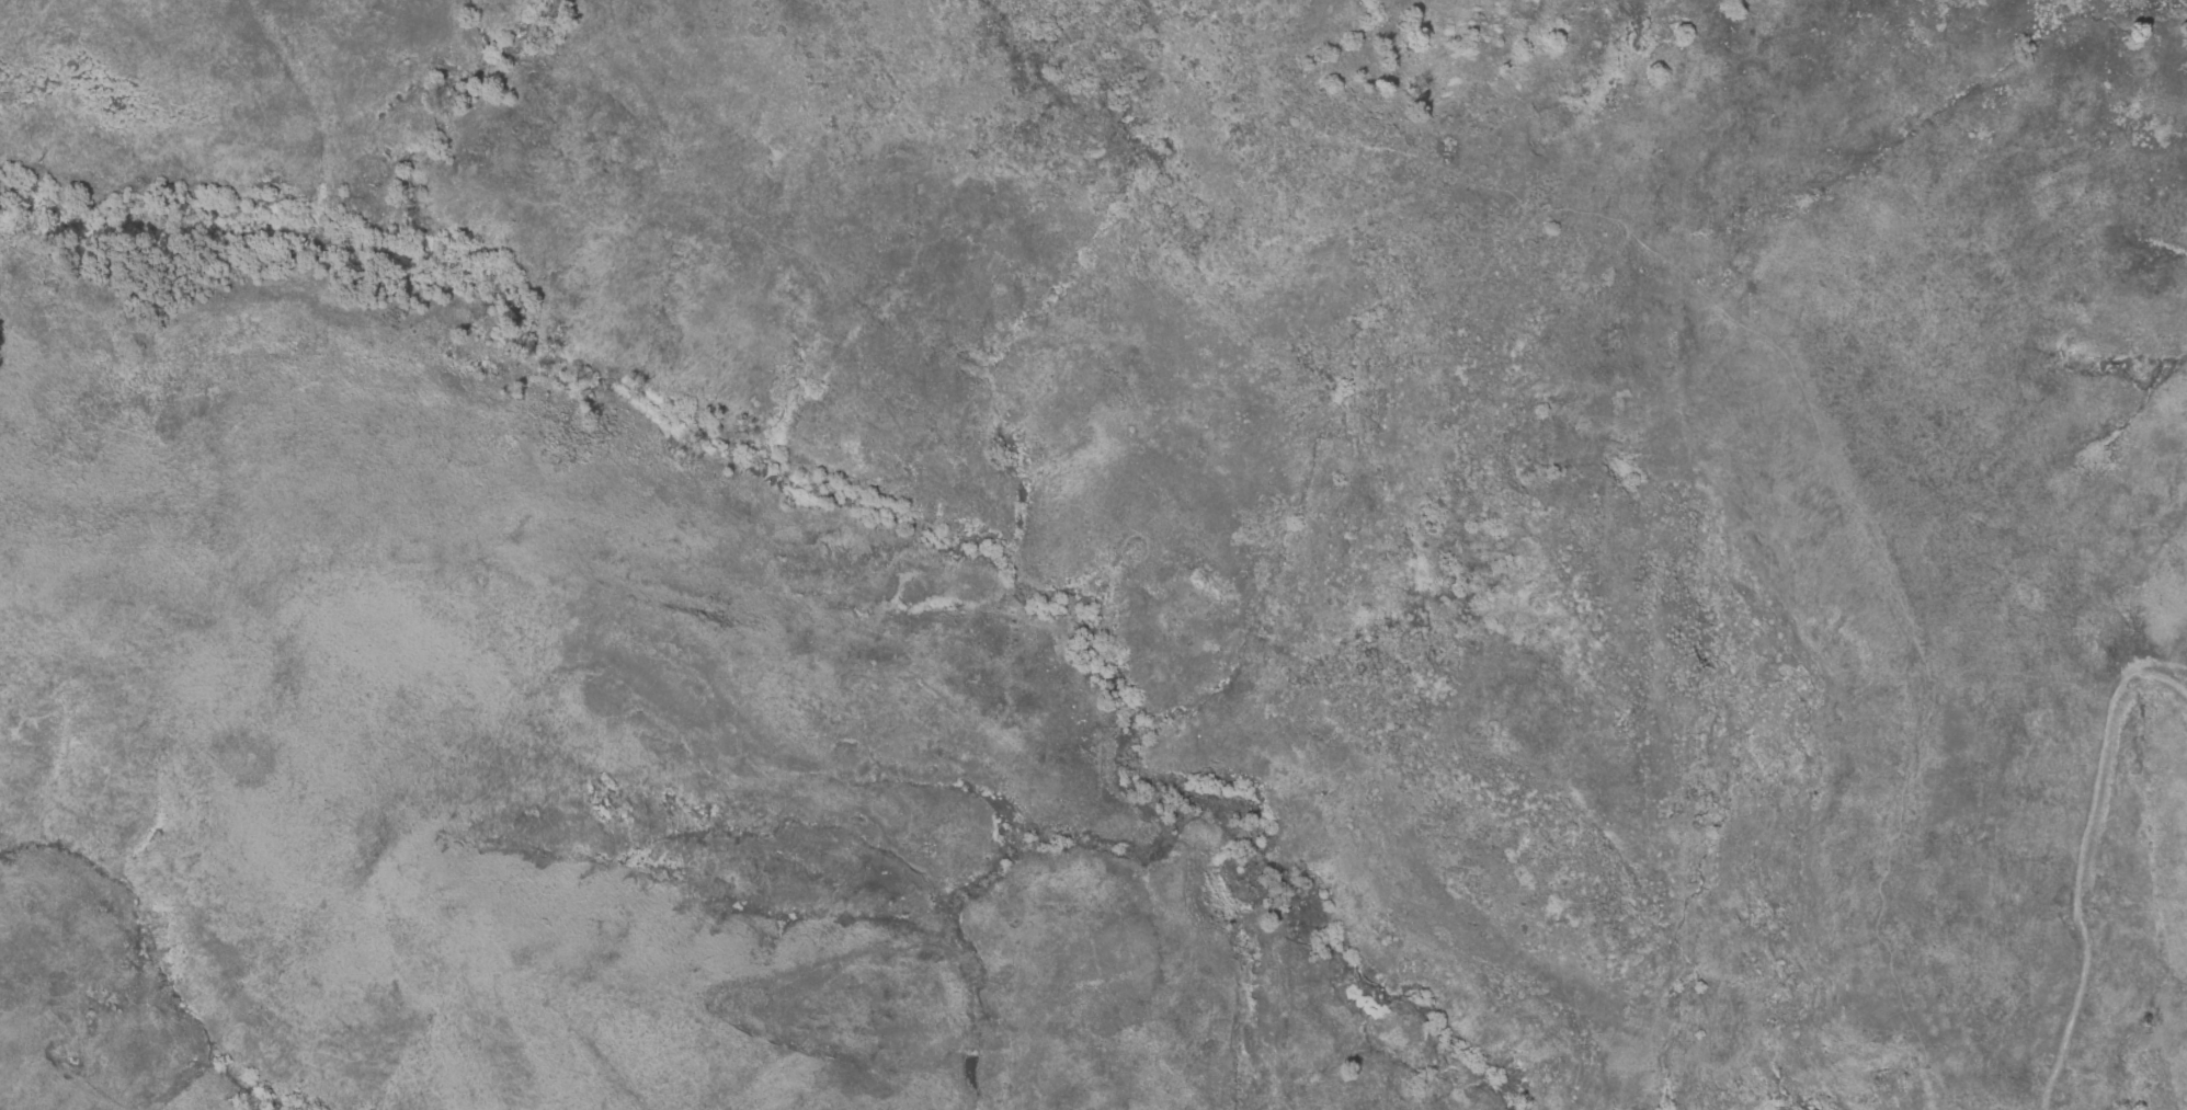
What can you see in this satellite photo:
road: (2083, 857)

